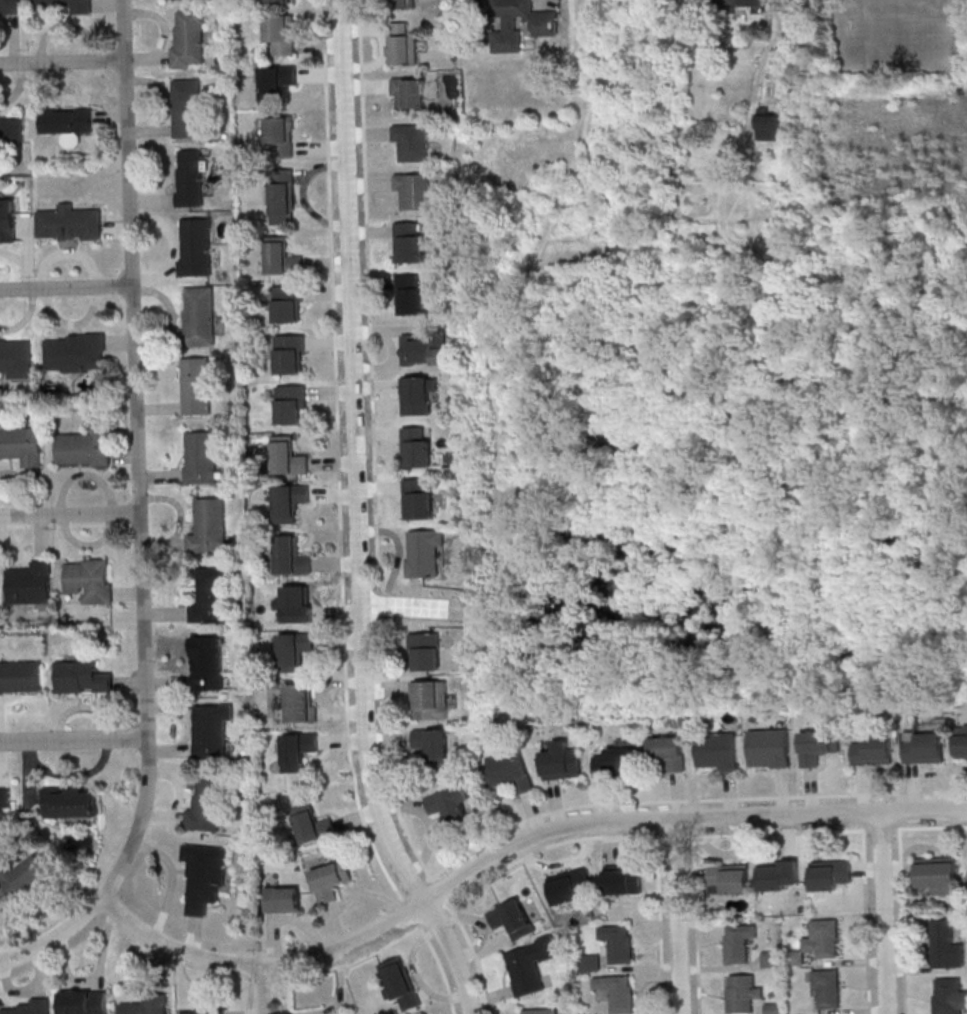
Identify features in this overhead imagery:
building: (278, 1)
building: (404, 3)
building: (746, 3)
building: (67, 4)
road: (109, 4)
building: (9, 6)
road: (161, 22)
building: (521, 23)
park: (899, 23)
road: (65, 24)
building: (281, 33)
building: (188, 37)
road: (13, 40)
road: (324, 40)
building: (404, 44)
road: (582, 52)
road: (146, 58)
road: (62, 63)
building: (275, 83)
road: (18, 88)
building: (408, 92)
road: (161, 93)
building: (186, 107)
building: (67, 119)
building: (770, 124)
building: (11, 128)
road: (149, 131)
building: (281, 136)
building: (190, 179)
building: (415, 190)
building: (282, 196)
road: (152, 201)
building: (8, 220)
building: (69, 222)
building: (411, 241)
road: (172, 248)
building: (196, 248)
road: (66, 251)
road: (580, 254)
road: (26, 255)
building: (282, 257)
road: (13, 258)
road: (171, 270)
road: (66, 289)
building: (411, 294)
road: (682, 299)
road: (167, 302)
building: (288, 303)
road: (24, 317)
building: (198, 317)
road: (369, 317)
road: (71, 324)
road: (386, 330)
road: (155, 339)
road: (120, 341)
building: (426, 347)
building: (75, 351)
building: (290, 353)
building: (15, 357)
road: (489, 372)
building: (196, 385)
building: (418, 395)
building: (292, 403)
road: (158, 409)
building: (22, 444)
building: (84, 446)
building: (417, 448)
road: (138, 453)
road: (338, 454)
road: (126, 455)
building: (288, 456)
building: (201, 458)
road: (334, 463)
road: (83, 474)
road: (18, 475)
road: (160, 476)
road: (379, 488)
road: (35, 492)
building: (419, 498)
building: (290, 501)
road: (375, 503)
road: (70, 514)
road: (358, 518)
building: (209, 526)
road: (341, 552)
building: (424, 552)
road: (399, 553)
building: (292, 556)
road: (337, 562)
building: (90, 579)
building: (31, 583)
building: (211, 596)
building: (299, 603)
road: (414, 608)
building: (295, 649)
building: (425, 650)
building: (208, 663)
building: (20, 677)
building: (82, 677)
road: (386, 687)
building: (430, 699)
building: (301, 702)
road: (383, 712)
building: (212, 729)
road: (389, 737)
building: (961, 740)
road: (74, 741)
building: (434, 745)
building: (817, 746)
building: (924, 746)
building: (769, 748)
building: (298, 750)
building: (719, 750)
building: (874, 750)
building: (668, 751)
building: (617, 759)
building: (562, 761)
building: (511, 770)
road: (943, 779)
road: (914, 788)
road: (861, 790)
road: (910, 791)
building: (5, 797)
building: (72, 802)
building: (207, 804)
building: (451, 804)
building: (314, 824)
road: (512, 849)
road: (868, 868)
building: (779, 874)
building: (831, 874)
building: (939, 874)
building: (26, 875)
building: (205, 876)
building: (624, 879)
building: (730, 879)
building: (331, 880)
building: (571, 886)
building: (283, 899)
road: (884, 914)
road: (679, 917)
building: (513, 919)
road: (482, 923)
road: (661, 924)
road: (697, 927)
road: (56, 937)
building: (822, 940)
road: (866, 941)
building: (620, 942)
building: (740, 942)
building: (946, 945)
building: (771, 959)
building: (591, 962)
building: (530, 965)
road: (98, 976)
road: (484, 981)
building: (400, 983)
building: (827, 988)
road: (263, 990)
road: (905, 990)
building: (619, 991)
road: (289, 992)
building: (743, 993)
building: (949, 995)
road: (492, 997)
building: (84, 1001)
building: (148, 1005)
building: (32, 1007)
building: (541, 1011)
building: (204, 1012)

